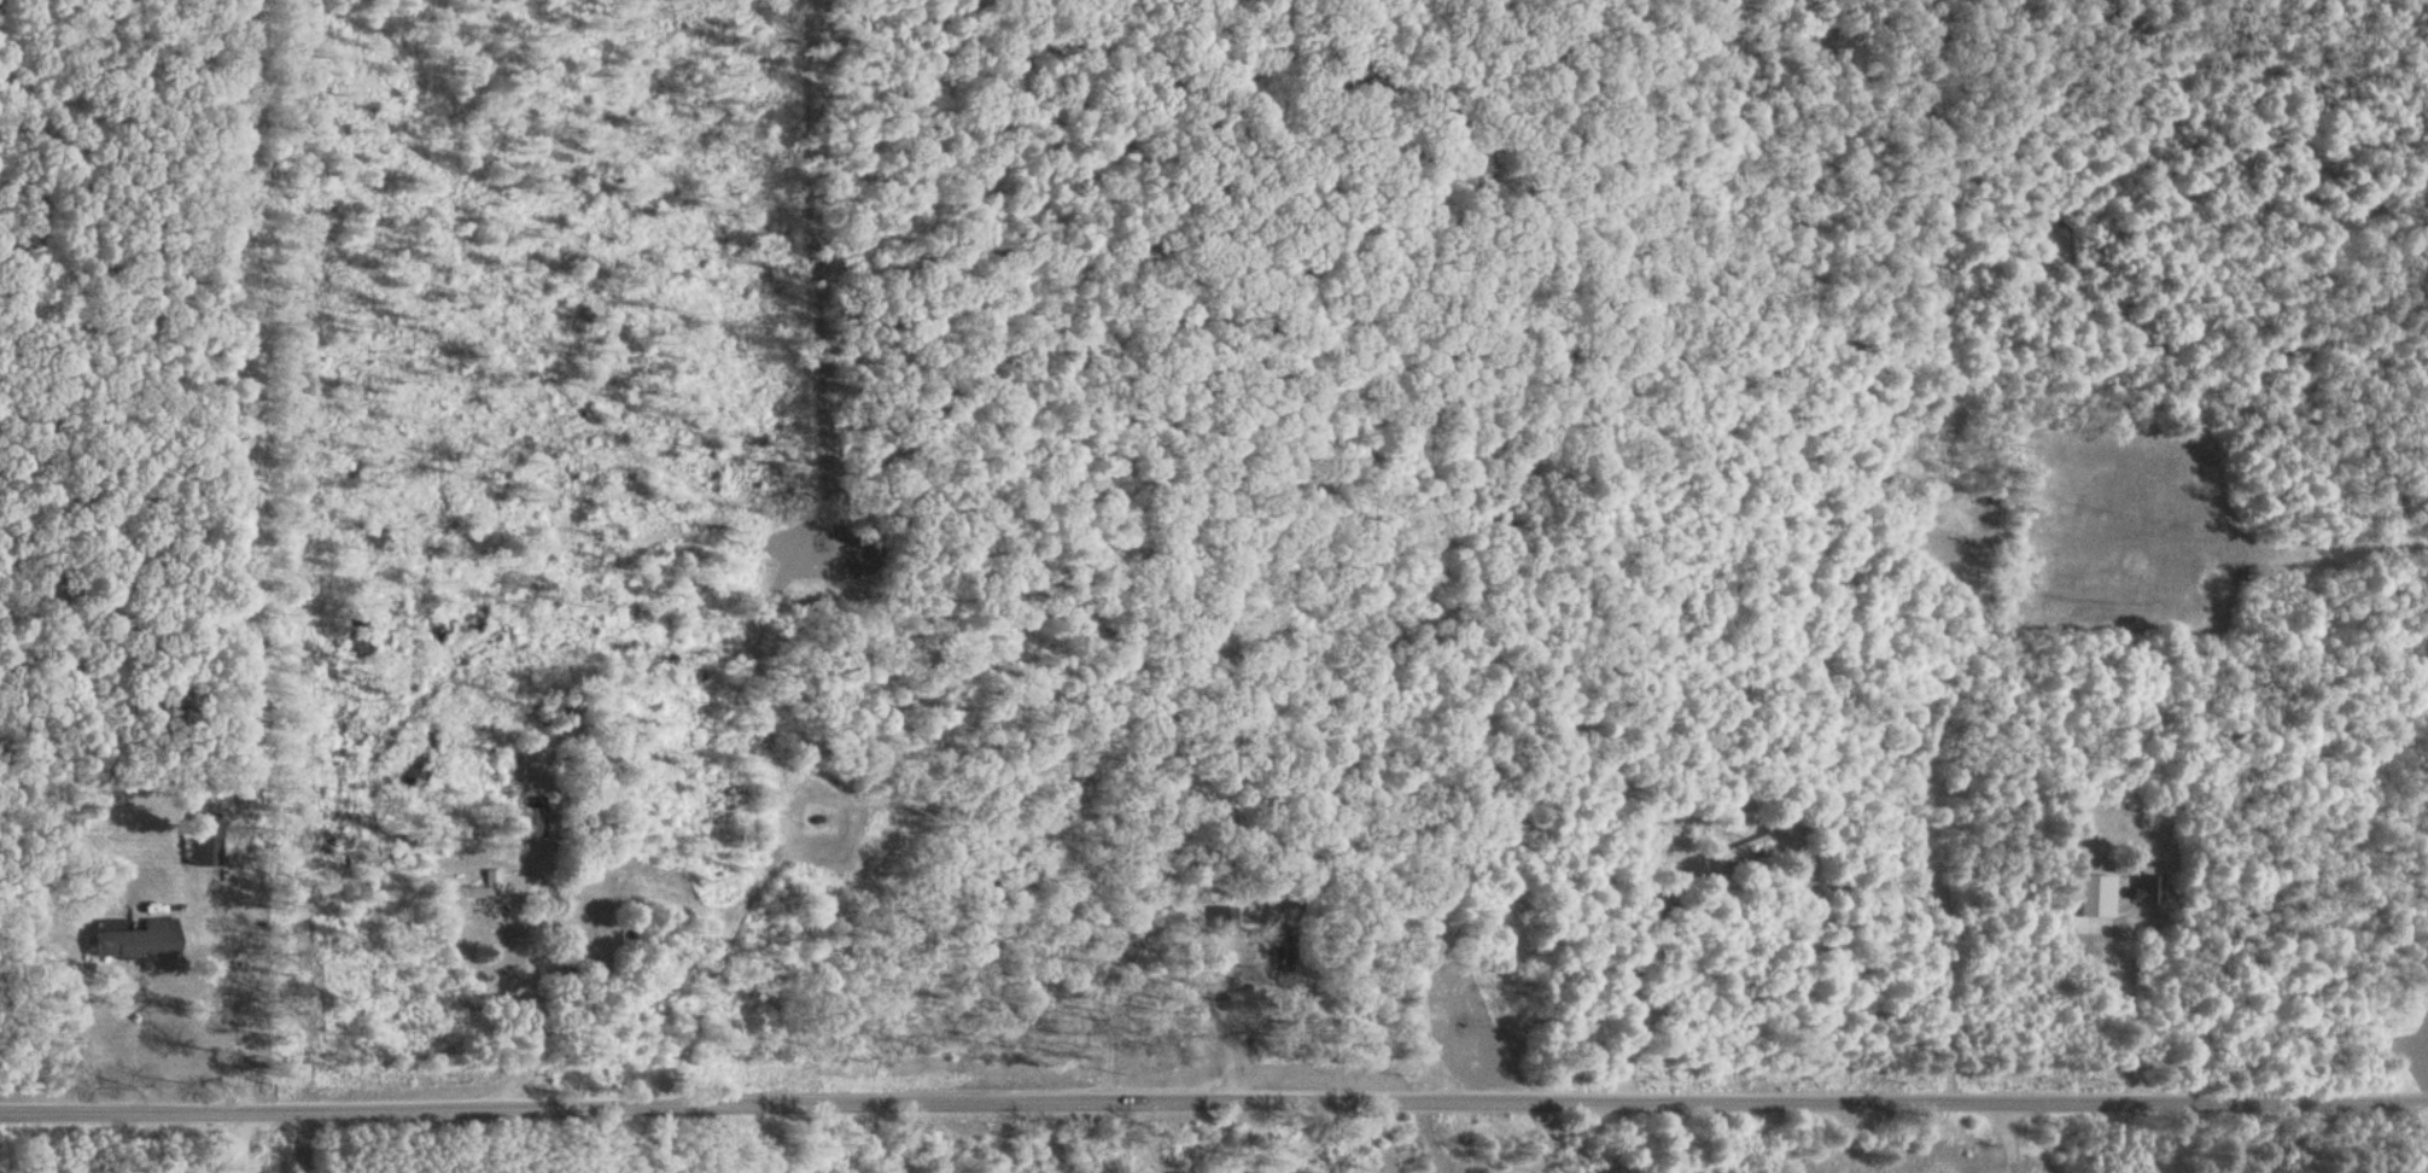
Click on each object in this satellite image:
road: (782, 558)
road: (1938, 558)
building: (527, 823)
building: (204, 840)
building: (2146, 886)
building: (1221, 916)
building: (138, 940)
building: (1284, 950)
road: (1213, 1099)
road: (766, 1137)
road: (1435, 1139)
road: (2002, 1140)
road: (241, 1143)
road: (1429, 1166)

